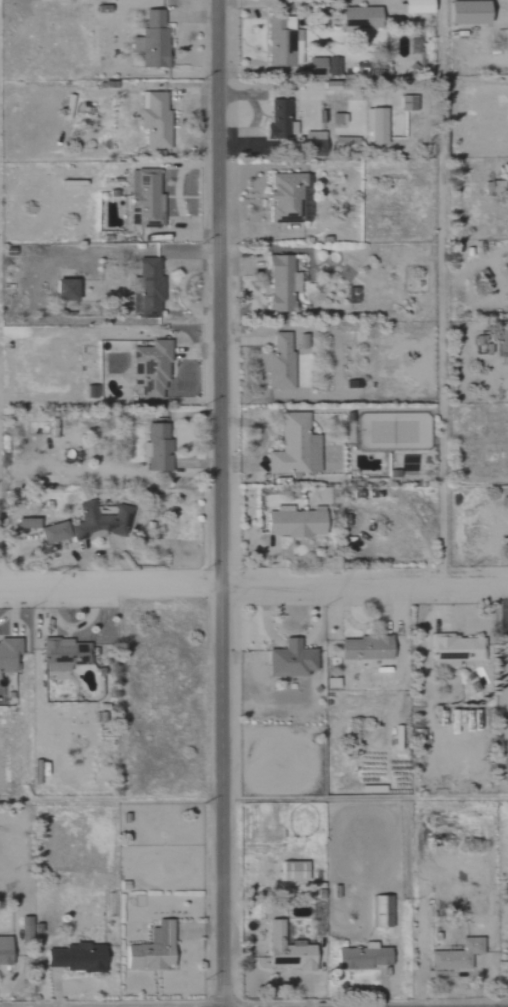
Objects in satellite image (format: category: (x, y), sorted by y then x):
building: (413, 6)
building: (464, 12)
building: (357, 17)
building: (150, 39)
building: (505, 39)
building: (282, 42)
building: (321, 66)
building: (406, 103)
building: (278, 120)
building: (154, 121)
building: (375, 125)
building: (312, 140)
building: (344, 142)
building: (286, 197)
building: (144, 199)
building: (280, 283)
building: (147, 285)
building: (63, 289)
road: (439, 290)
building: (503, 342)
building: (279, 363)
building: (155, 447)
building: (293, 448)
road: (219, 503)
building: (98, 521)
building: (24, 523)
building: (292, 523)
building: (52, 533)
road: (253, 581)
building: (365, 648)
building: (455, 648)
building: (8, 653)
building: (63, 655)
building: (289, 660)
building: (507, 776)
building: (291, 871)
building: (380, 911)
building: (24, 928)
building: (4, 950)
building: (151, 950)
building: (285, 950)
building: (455, 955)
building: (361, 957)
building: (75, 958)

